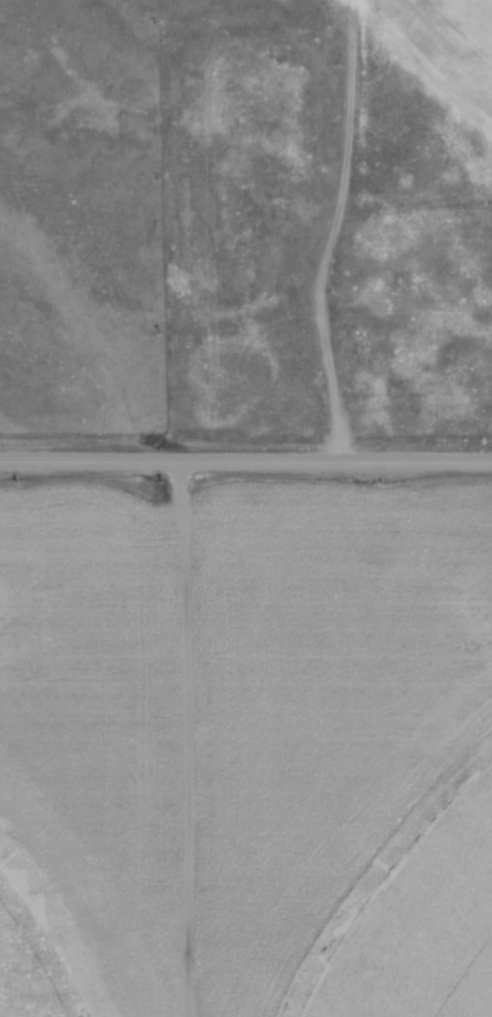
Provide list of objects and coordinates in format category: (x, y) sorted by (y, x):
crop: (449, 41)
road: (246, 463)
crop: (246, 751)

